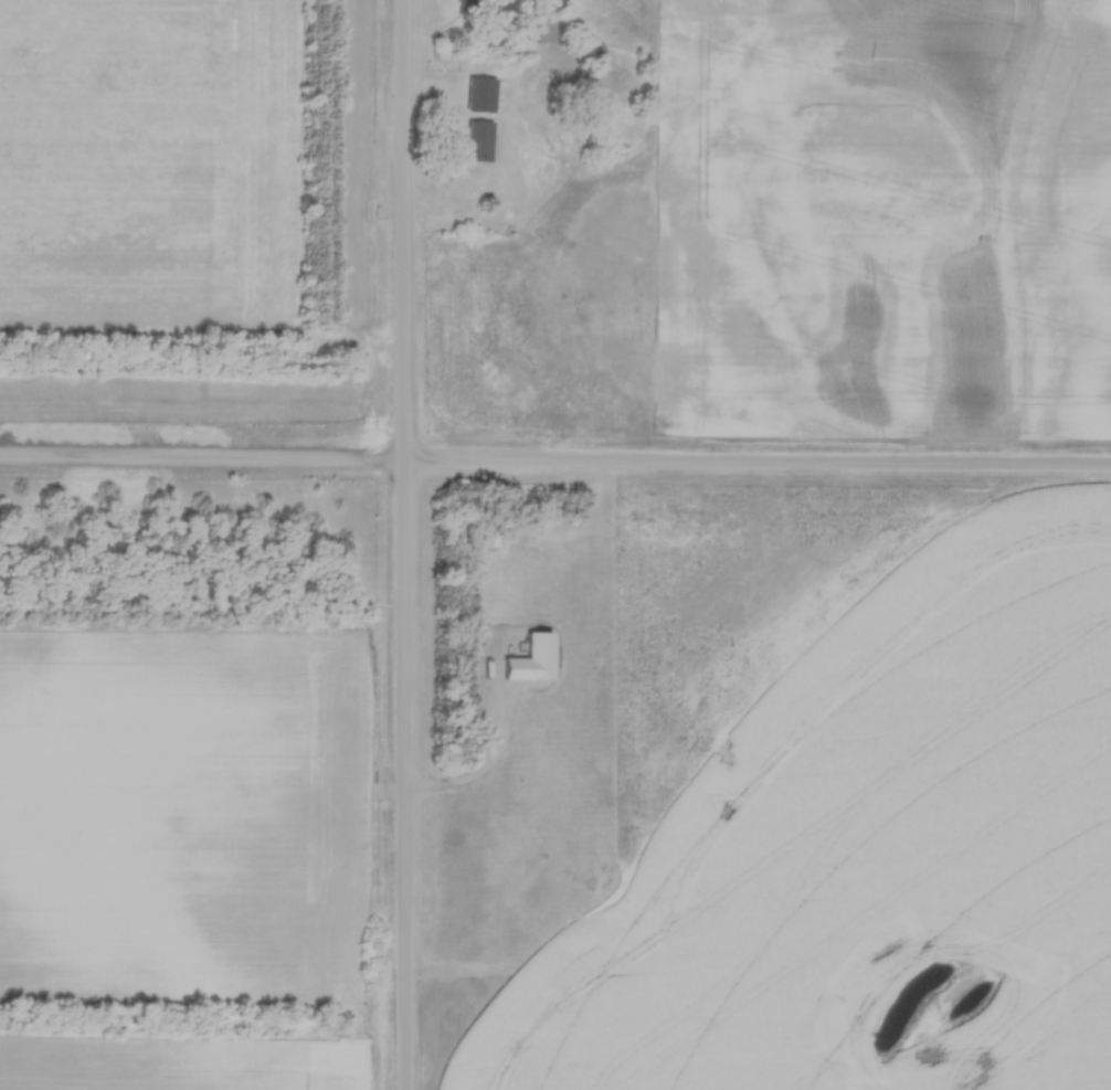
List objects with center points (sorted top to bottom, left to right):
building: (541, 25)
building: (589, 54)
building: (476, 141)
road: (555, 469)
road: (403, 544)
building: (489, 548)
building: (535, 874)
road: (477, 973)

